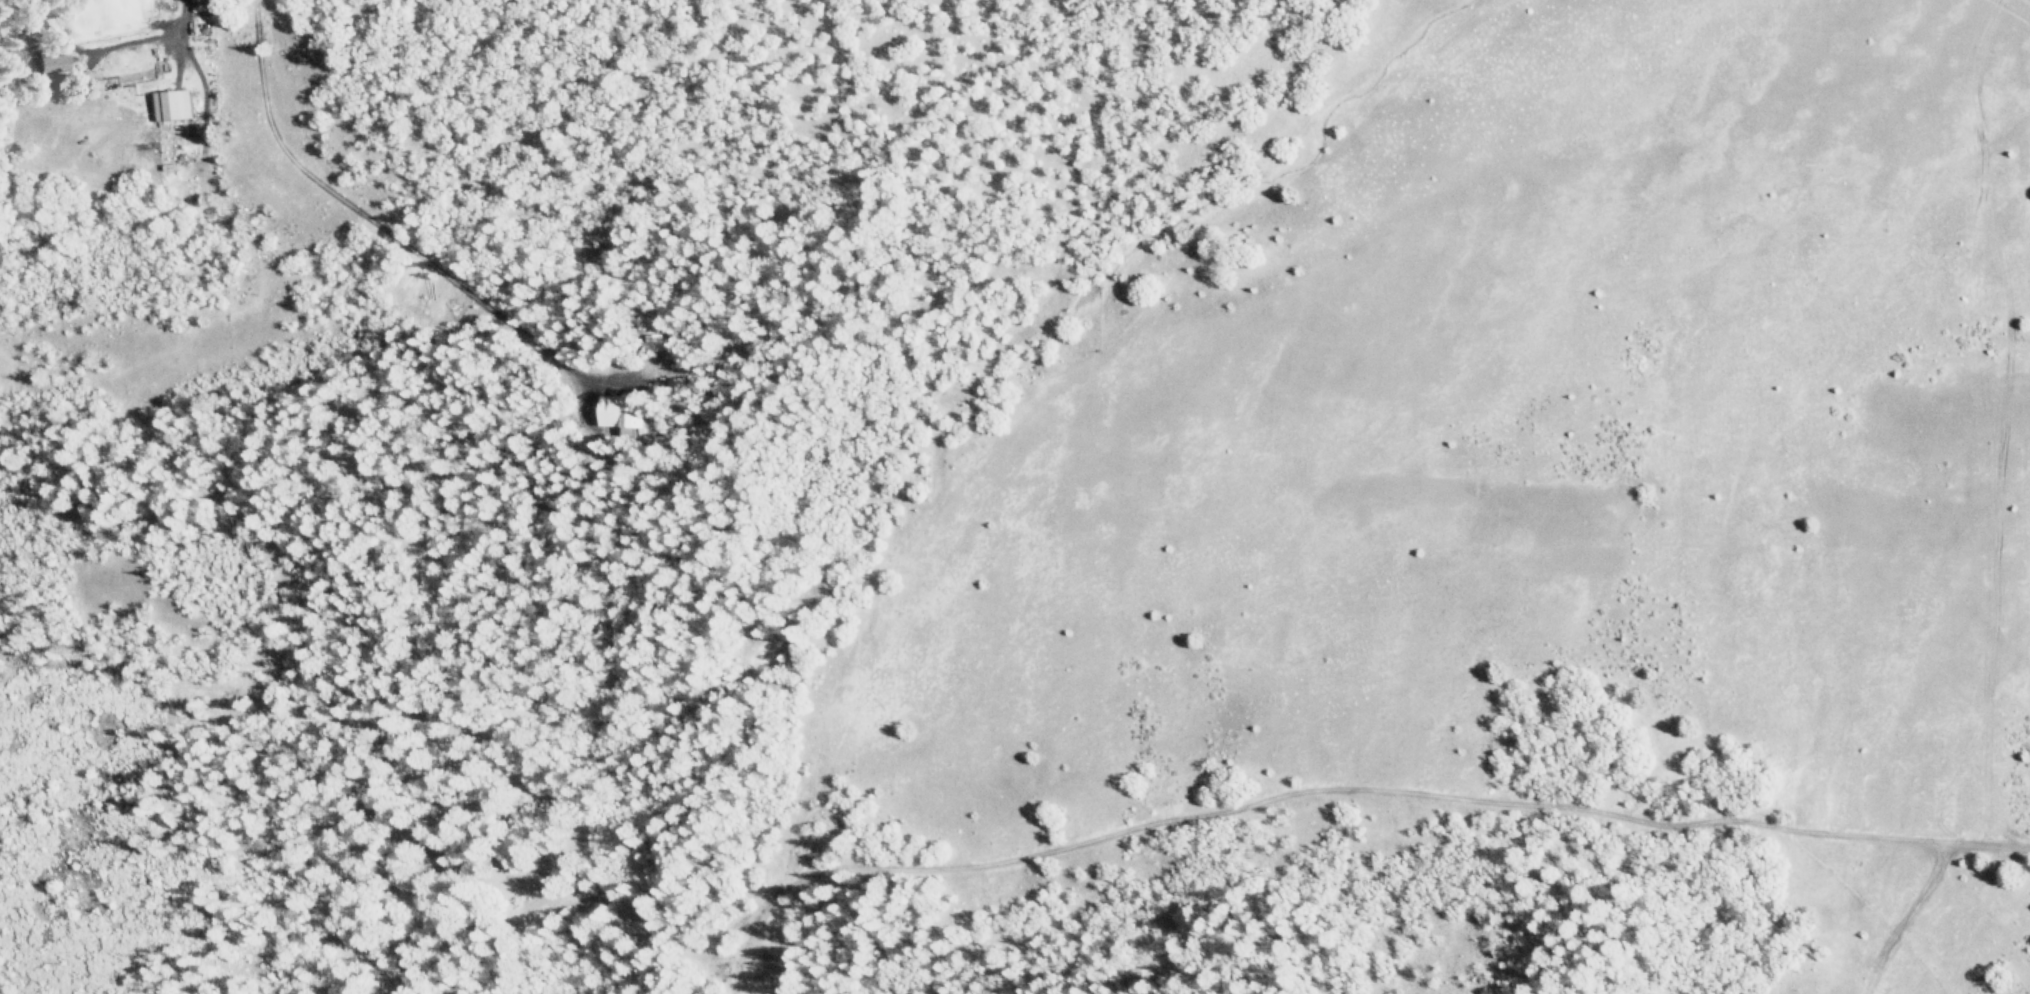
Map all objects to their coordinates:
building: (51, 62)
building: (42, 86)
building: (169, 104)
building: (652, 342)
building: (674, 385)
building: (618, 410)

